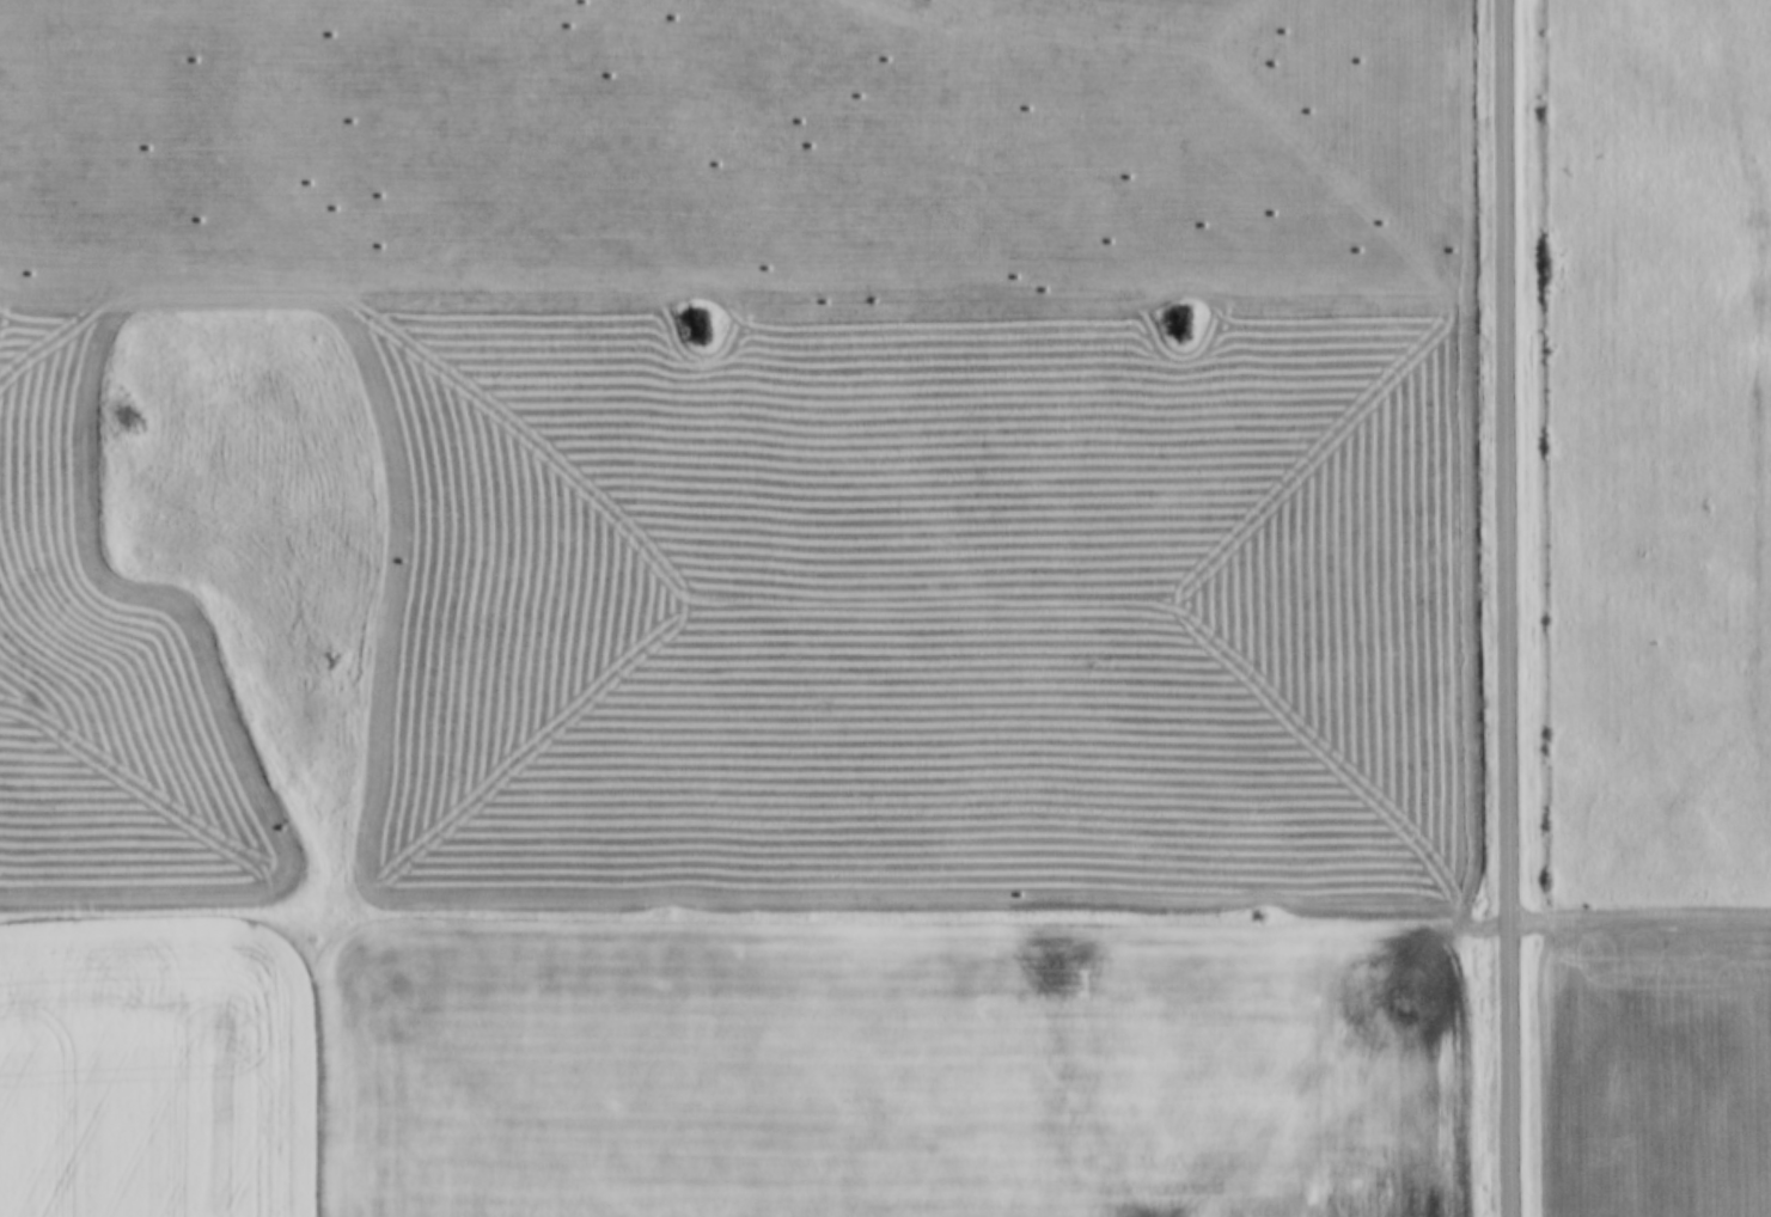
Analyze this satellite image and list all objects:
road: (1504, 607)

